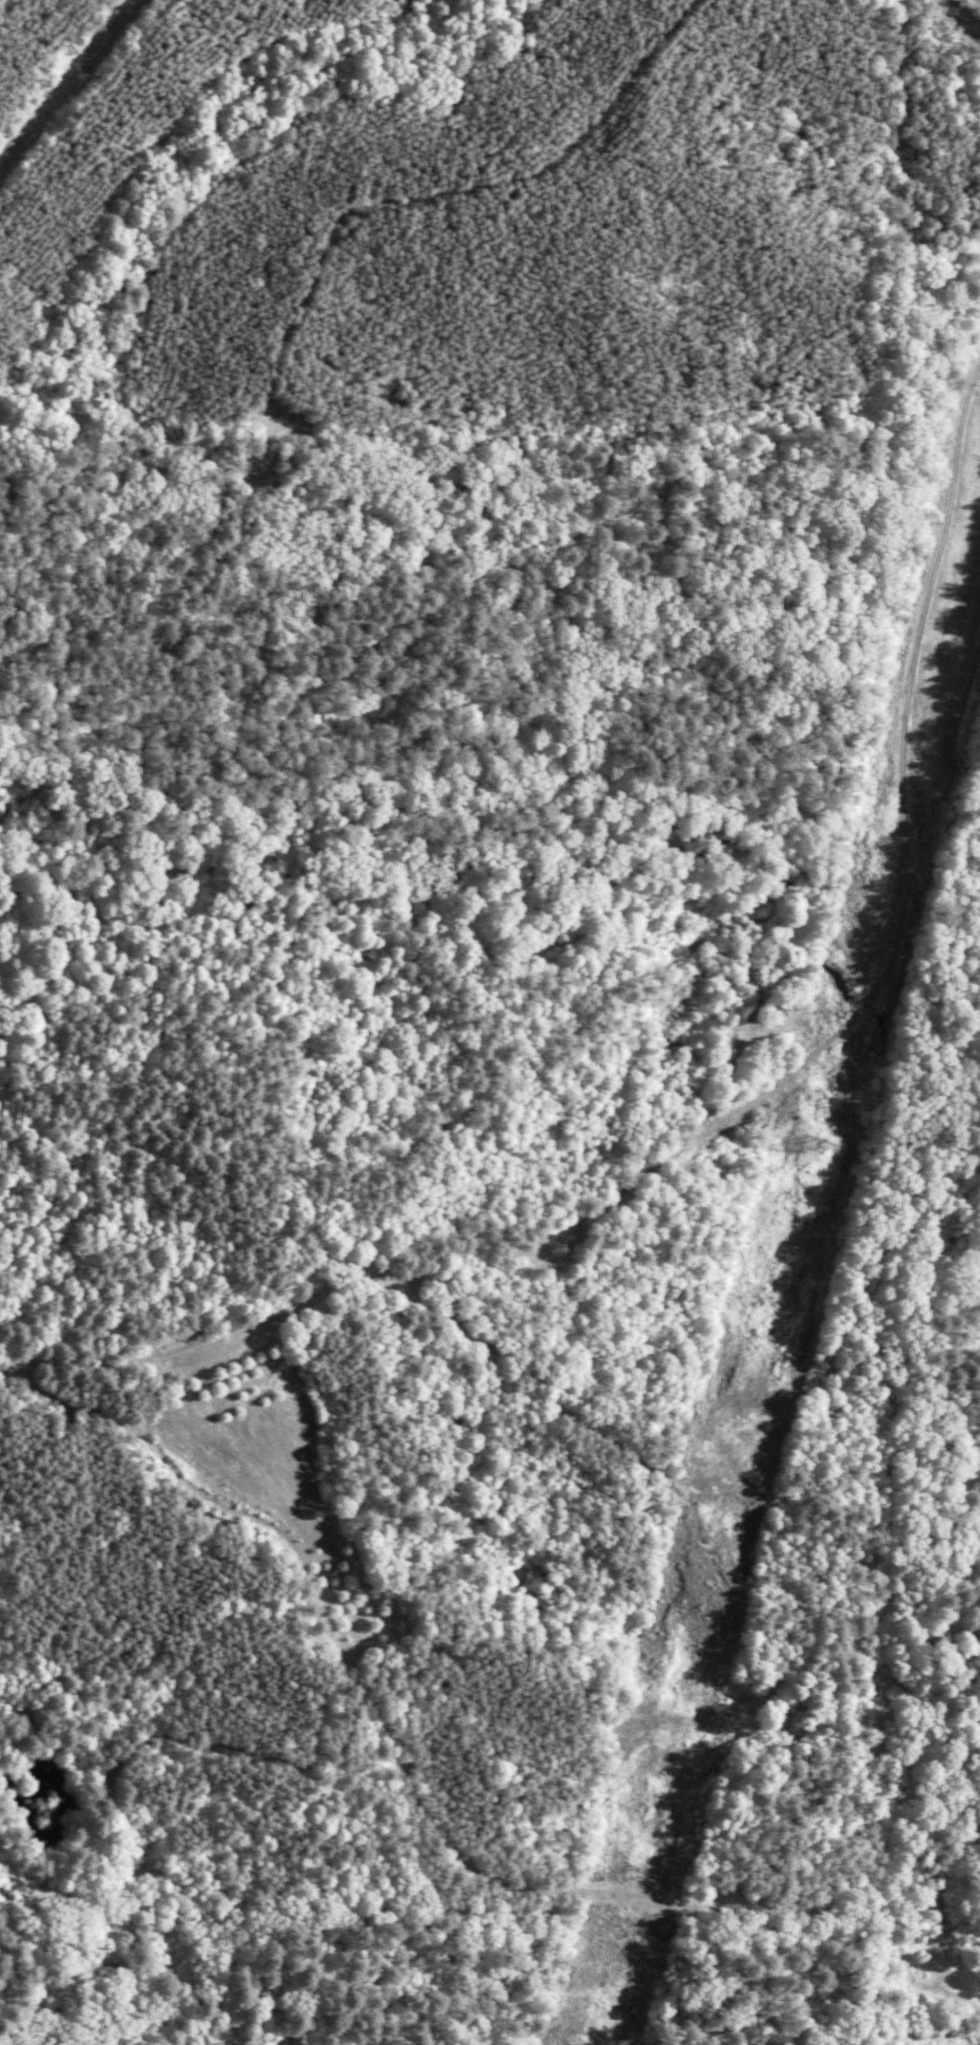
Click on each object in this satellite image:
power tower: (810, 1146)
power tower: (626, 1874)

